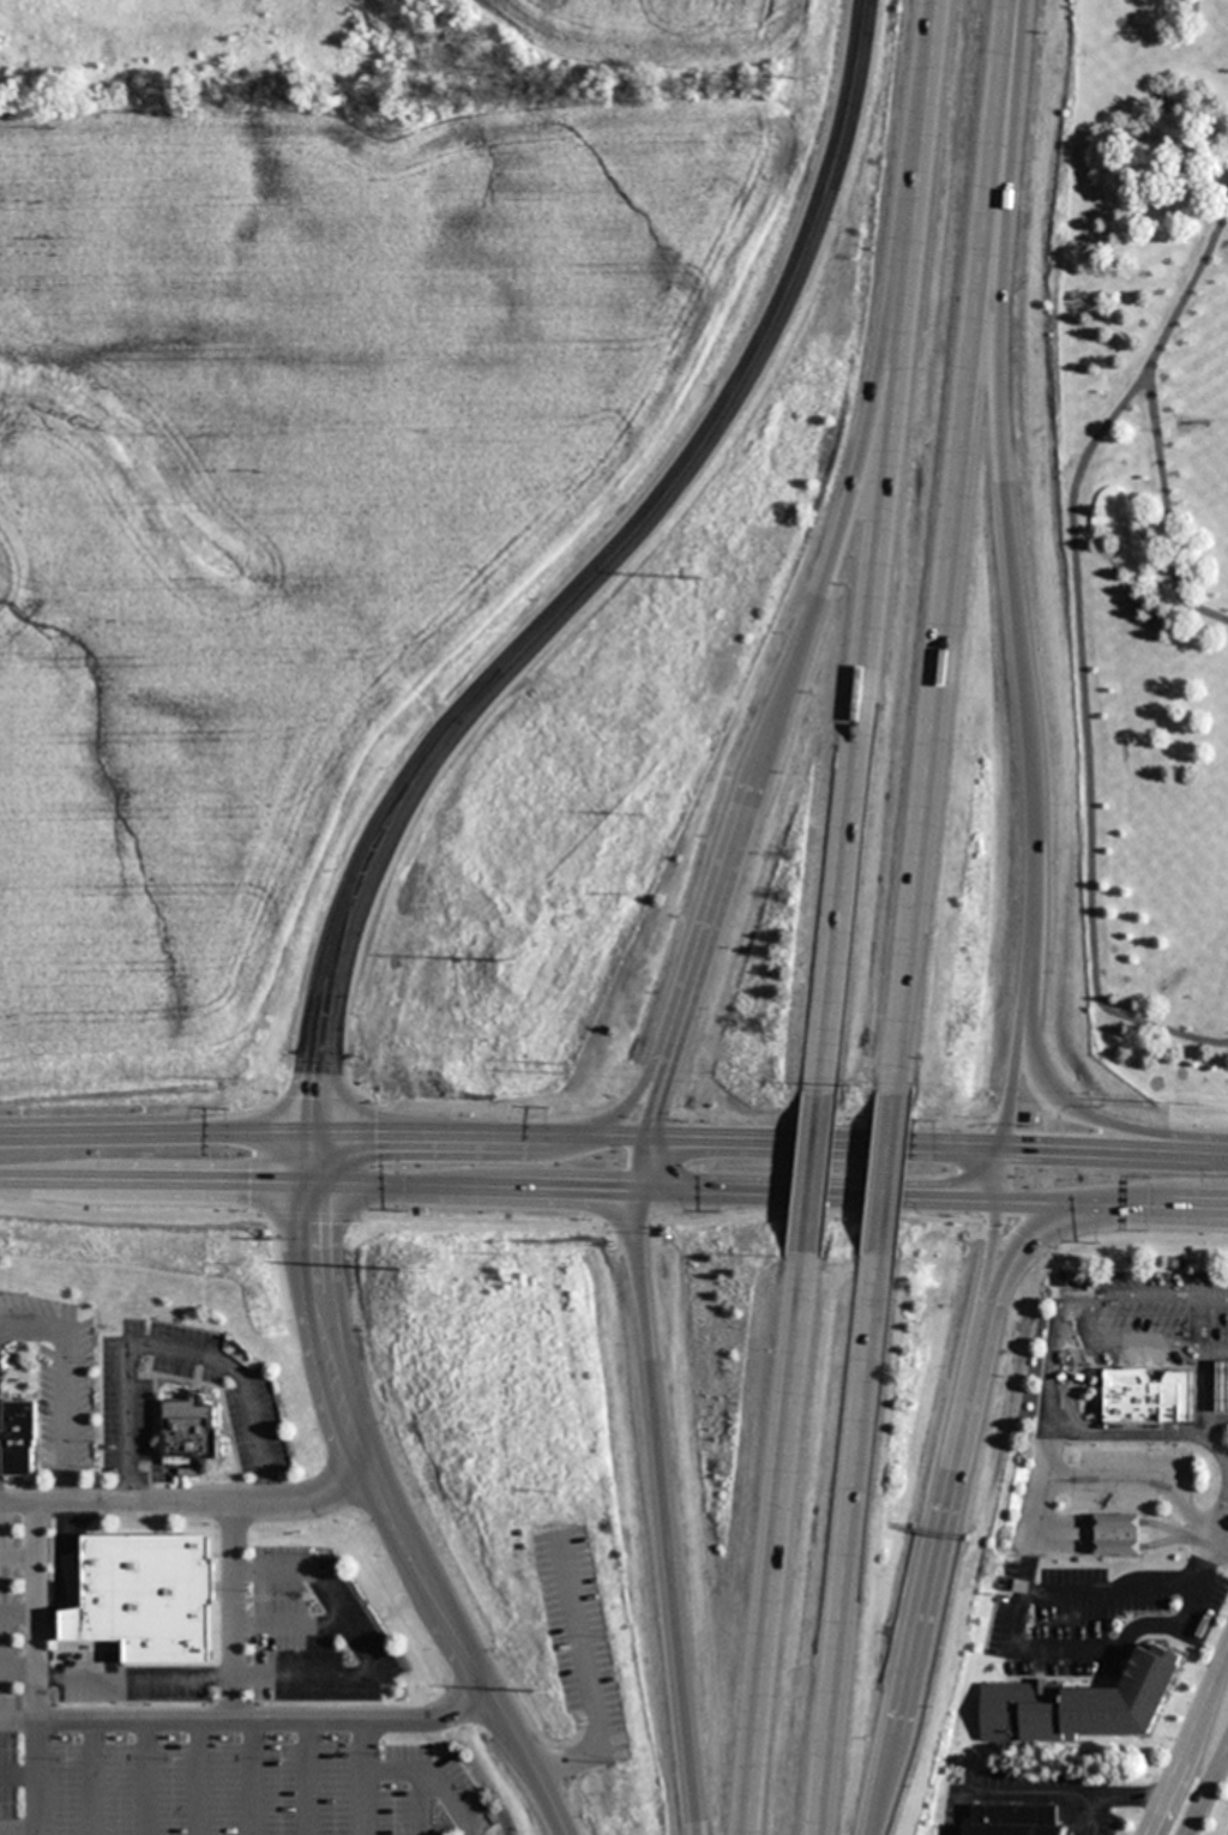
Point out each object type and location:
road: (1151, 413)
crop: (330, 475)
road: (881, 548)
road: (958, 548)
road: (578, 590)
road: (818, 598)
road: (1021, 667)
power tower: (516, 961)
road: (660, 1087)
road: (637, 1090)
road: (1092, 1115)
traffic signals: (312, 1137)
road: (321, 1137)
traffic signals: (644, 1137)
road: (824, 1141)
traffic signals: (1005, 1145)
road: (1116, 1148)
street lamp: (1029, 1169)
road: (1003, 1172)
road: (818, 1174)
road: (887, 1174)
street lamp: (1191, 1174)
road: (153, 1181)
traffic signals: (309, 1183)
traffic signals: (634, 1190)
road: (655, 1190)
traffic signals: (1000, 1199)
road: (1027, 1203)
road: (1142, 1209)
road: (993, 1250)
road: (1016, 1250)
power tower: (421, 1270)
road: (323, 1332)
road: (1125, 1341)
road: (67, 1382)
building: (1222, 1386)
building: (1145, 1397)
building: (188, 1433)
building: (25, 1440)
road: (663, 1485)
road: (18, 1504)
road: (204, 1504)
road: (1218, 1527)
building: (1116, 1534)
road: (778, 1542)
road: (850, 1544)
road: (939, 1568)
building: (157, 1598)
parking lot: (580, 1638)
road: (466, 1656)
road: (36, 1669)
road: (588, 1677)
building: (1101, 1708)
road: (247, 1725)
road: (1184, 1737)
road: (1205, 1786)
road: (1036, 1795)
road: (1109, 1798)
building: (1021, 1822)

